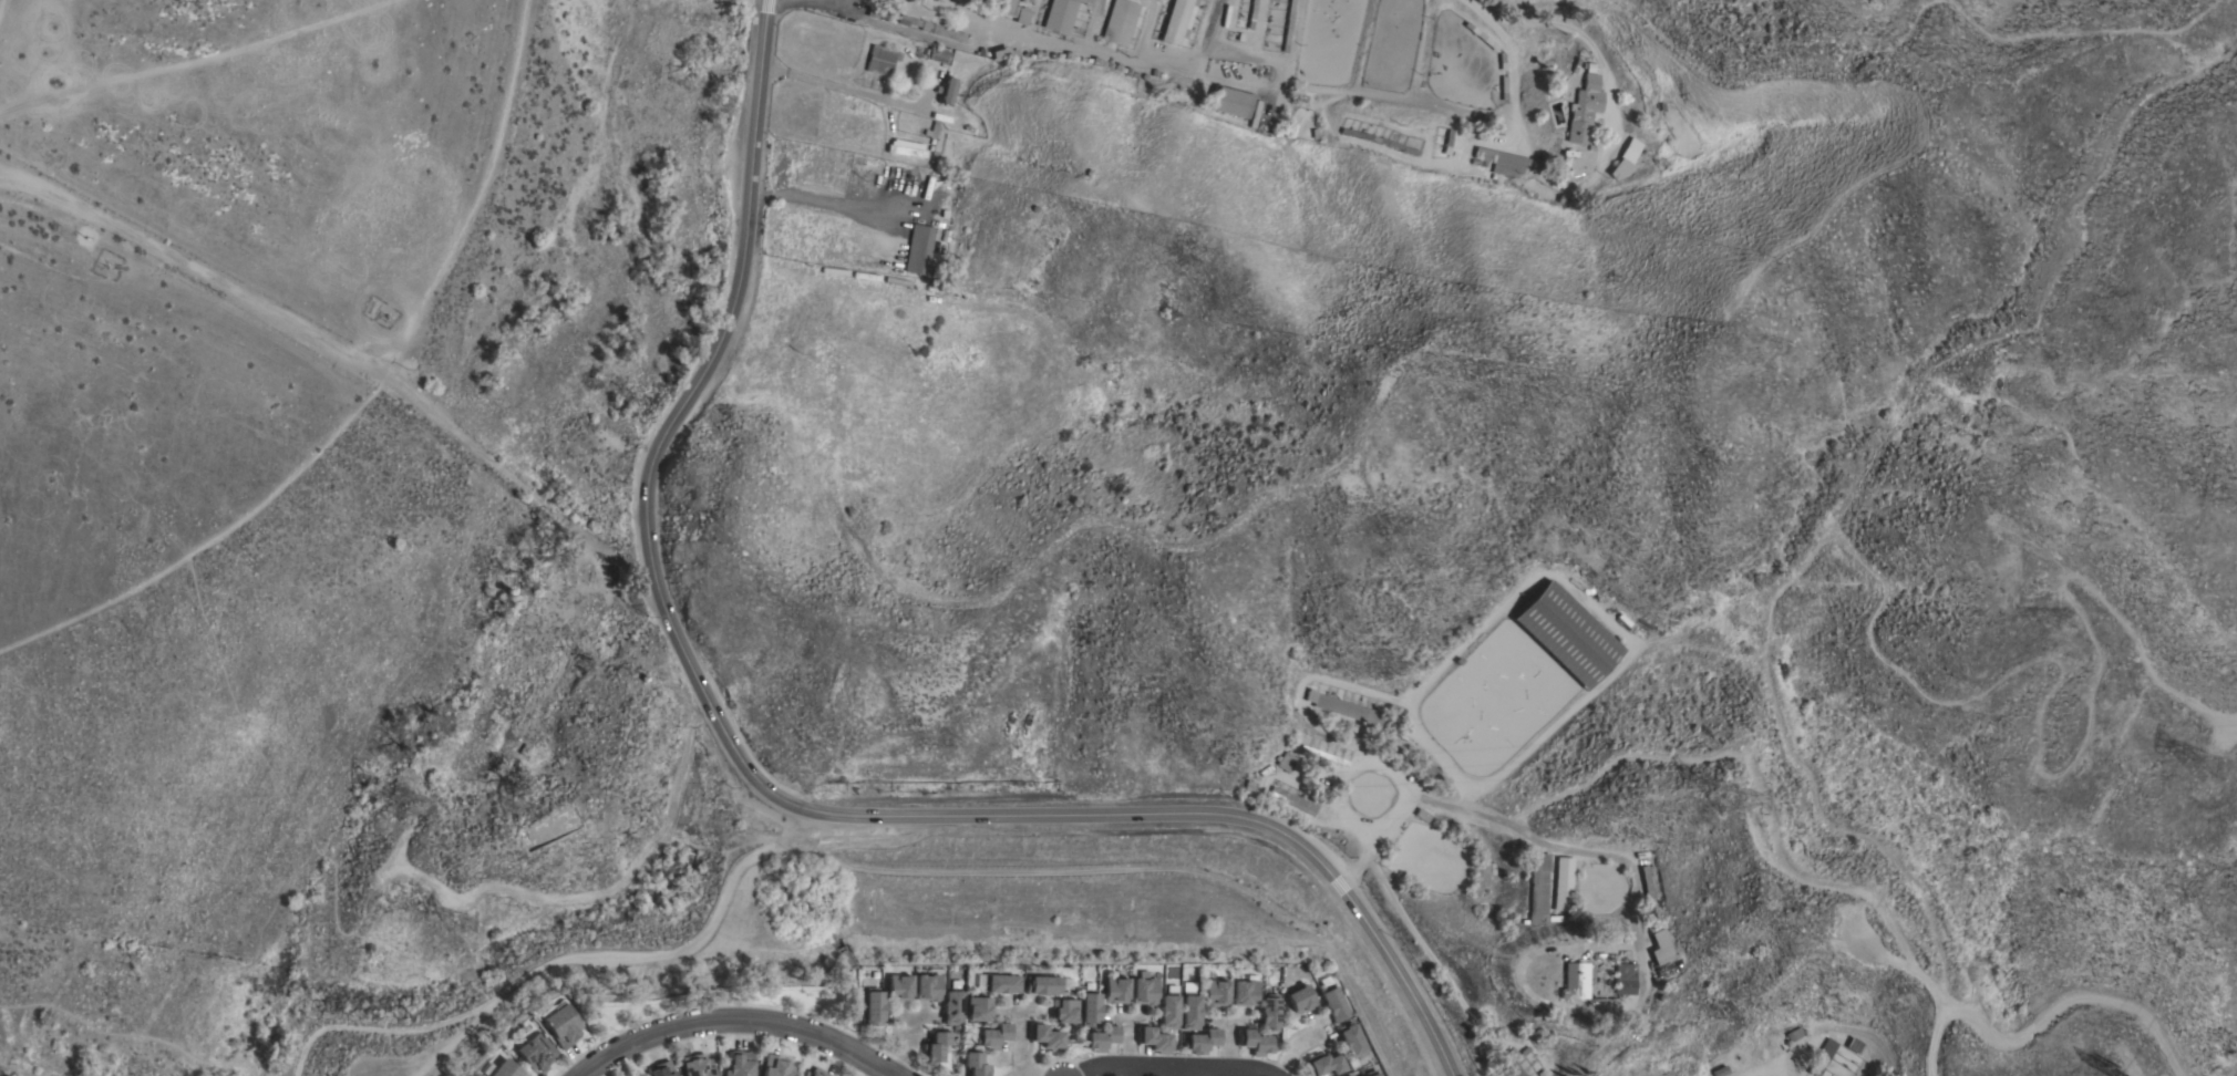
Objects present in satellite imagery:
road: (821, 3)
building: (1016, 12)
building: (879, 15)
building: (1176, 21)
building: (1120, 22)
building: (932, 29)
road: (1291, 32)
building: (938, 55)
building: (1007, 55)
road: (1231, 58)
building: (882, 60)
road: (1599, 64)
road: (1282, 75)
road: (1267, 84)
road: (832, 85)
building: (948, 92)
building: (1233, 102)
building: (1584, 106)
building: (906, 148)
building: (1631, 151)
building: (1502, 162)
road: (821, 203)
building: (919, 249)
building: (1568, 634)
building: (1350, 710)
building: (1326, 755)
building: (1288, 762)
power tower: (2213, 769)
road: (760, 782)
power tower: (1729, 797)
building: (1292, 800)
power tower: (404, 806)
wastewater plant: (550, 826)
road: (1581, 852)
building: (1565, 884)
building: (1649, 886)
building: (1539, 888)
road: (1856, 891)
power tower: (1805, 911)
power tower: (450, 923)
building: (1664, 952)
building: (1576, 980)
building: (1625, 980)
building: (1000, 984)
building: (1041, 985)
building: (897, 987)
building: (926, 987)
building: (1143, 990)
building: (1115, 991)
building: (1215, 992)
building: (1245, 992)
building: (1300, 1000)
building: (1333, 1005)
building: (951, 1006)
building: (873, 1008)
building: (1090, 1008)
building: (977, 1010)
building: (1063, 1011)
road: (1027, 1012)
building: (1168, 1012)
building: (1189, 1013)
building: (1268, 1013)
road: (733, 1020)
building: (560, 1026)
road: (1826, 1033)
building: (1795, 1034)
building: (992, 1036)
road: (1020, 1036)
building: (1047, 1038)
building: (1101, 1039)
building: (1154, 1041)
building: (1202, 1041)
building: (1351, 1041)
building: (1256, 1043)
building: (1856, 1045)
building: (935, 1047)
building: (534, 1052)
building: (1823, 1057)
building: (738, 1064)
building: (975, 1064)
building: (1324, 1064)
building: (1507, 1064)
building: (695, 1065)
building: (775, 1066)
road: (1169, 1067)
power tower: (2123, 1067)
building: (504, 1069)
building: (660, 1069)
road: (1204, 1072)
building: (814, 1073)
building: (1370, 1073)
building: (1350, 1075)

